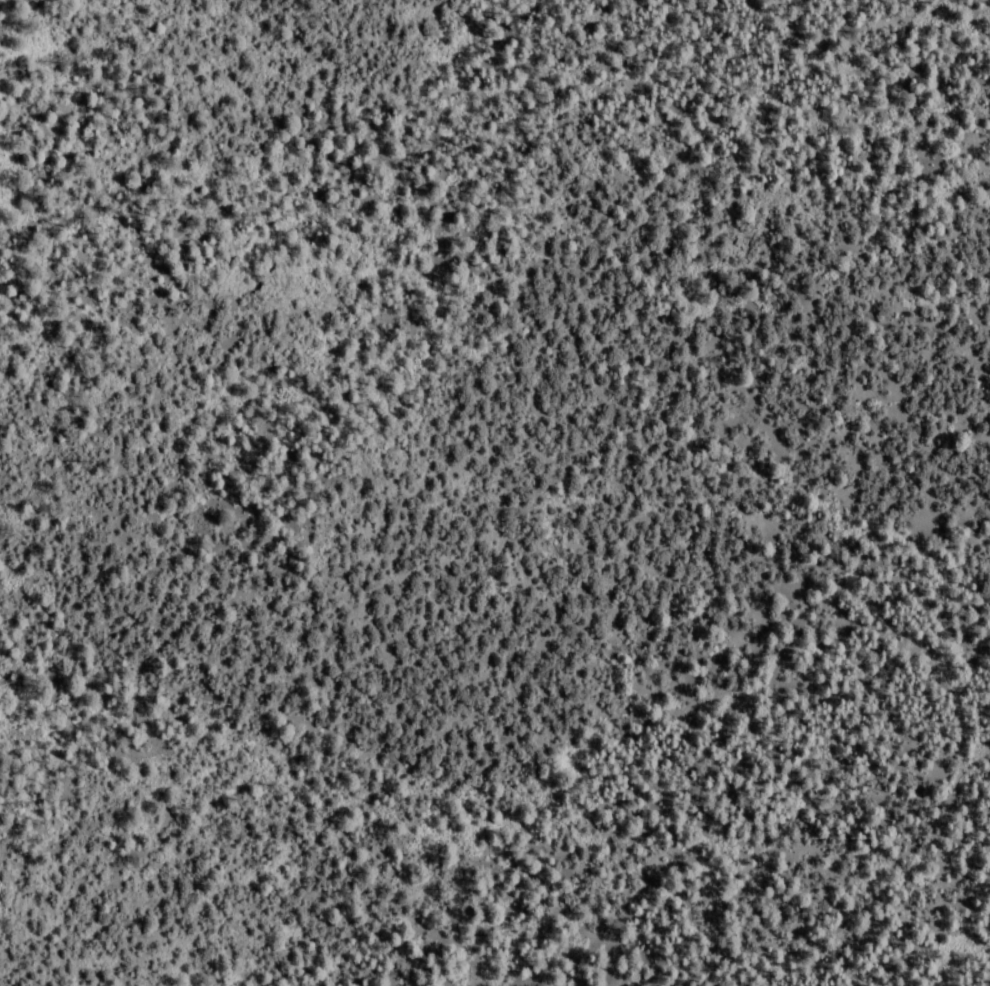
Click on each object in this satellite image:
road: (949, 976)

